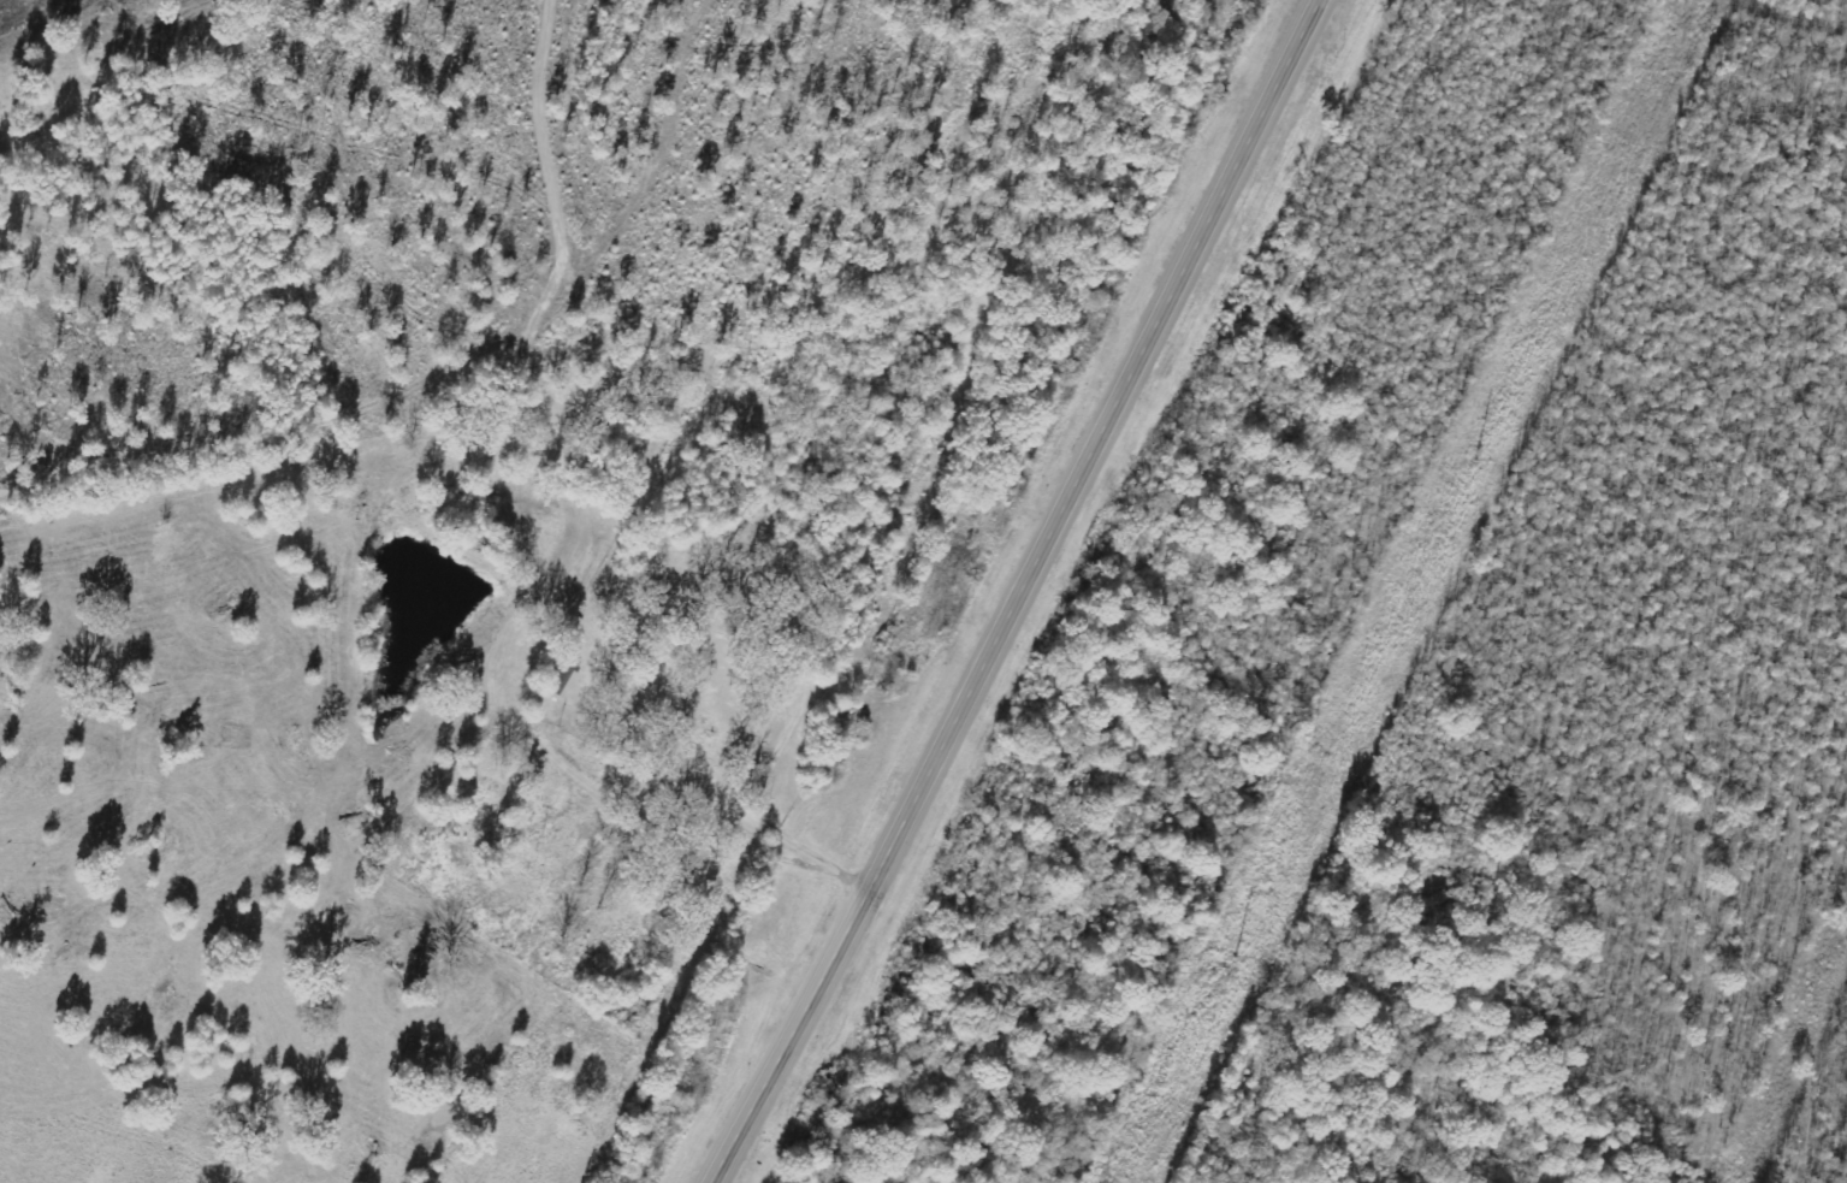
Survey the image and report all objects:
road: (1014, 592)
power tower: (1229, 946)

